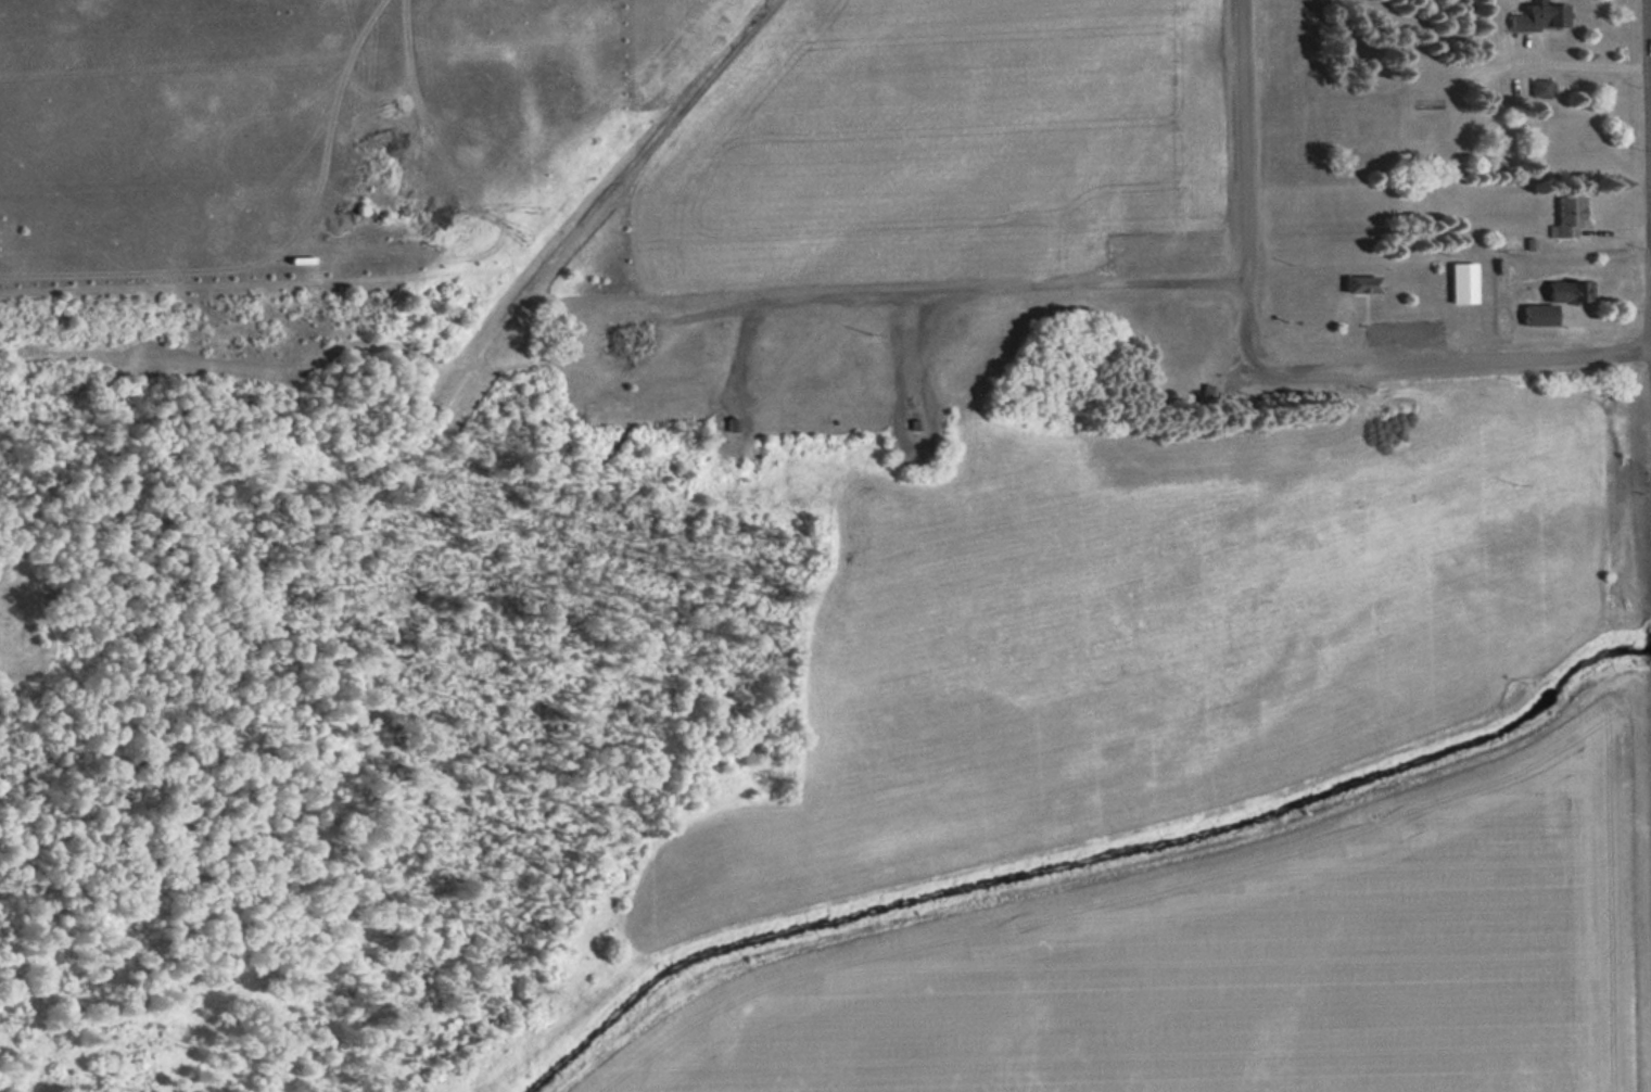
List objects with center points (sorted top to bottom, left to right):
building: (1537, 17)
building: (1536, 87)
road: (1245, 182)
building: (1564, 215)
building: (1459, 280)
building: (1357, 282)
building: (1564, 289)
building: (1535, 313)
road: (1449, 361)
park: (809, 733)

